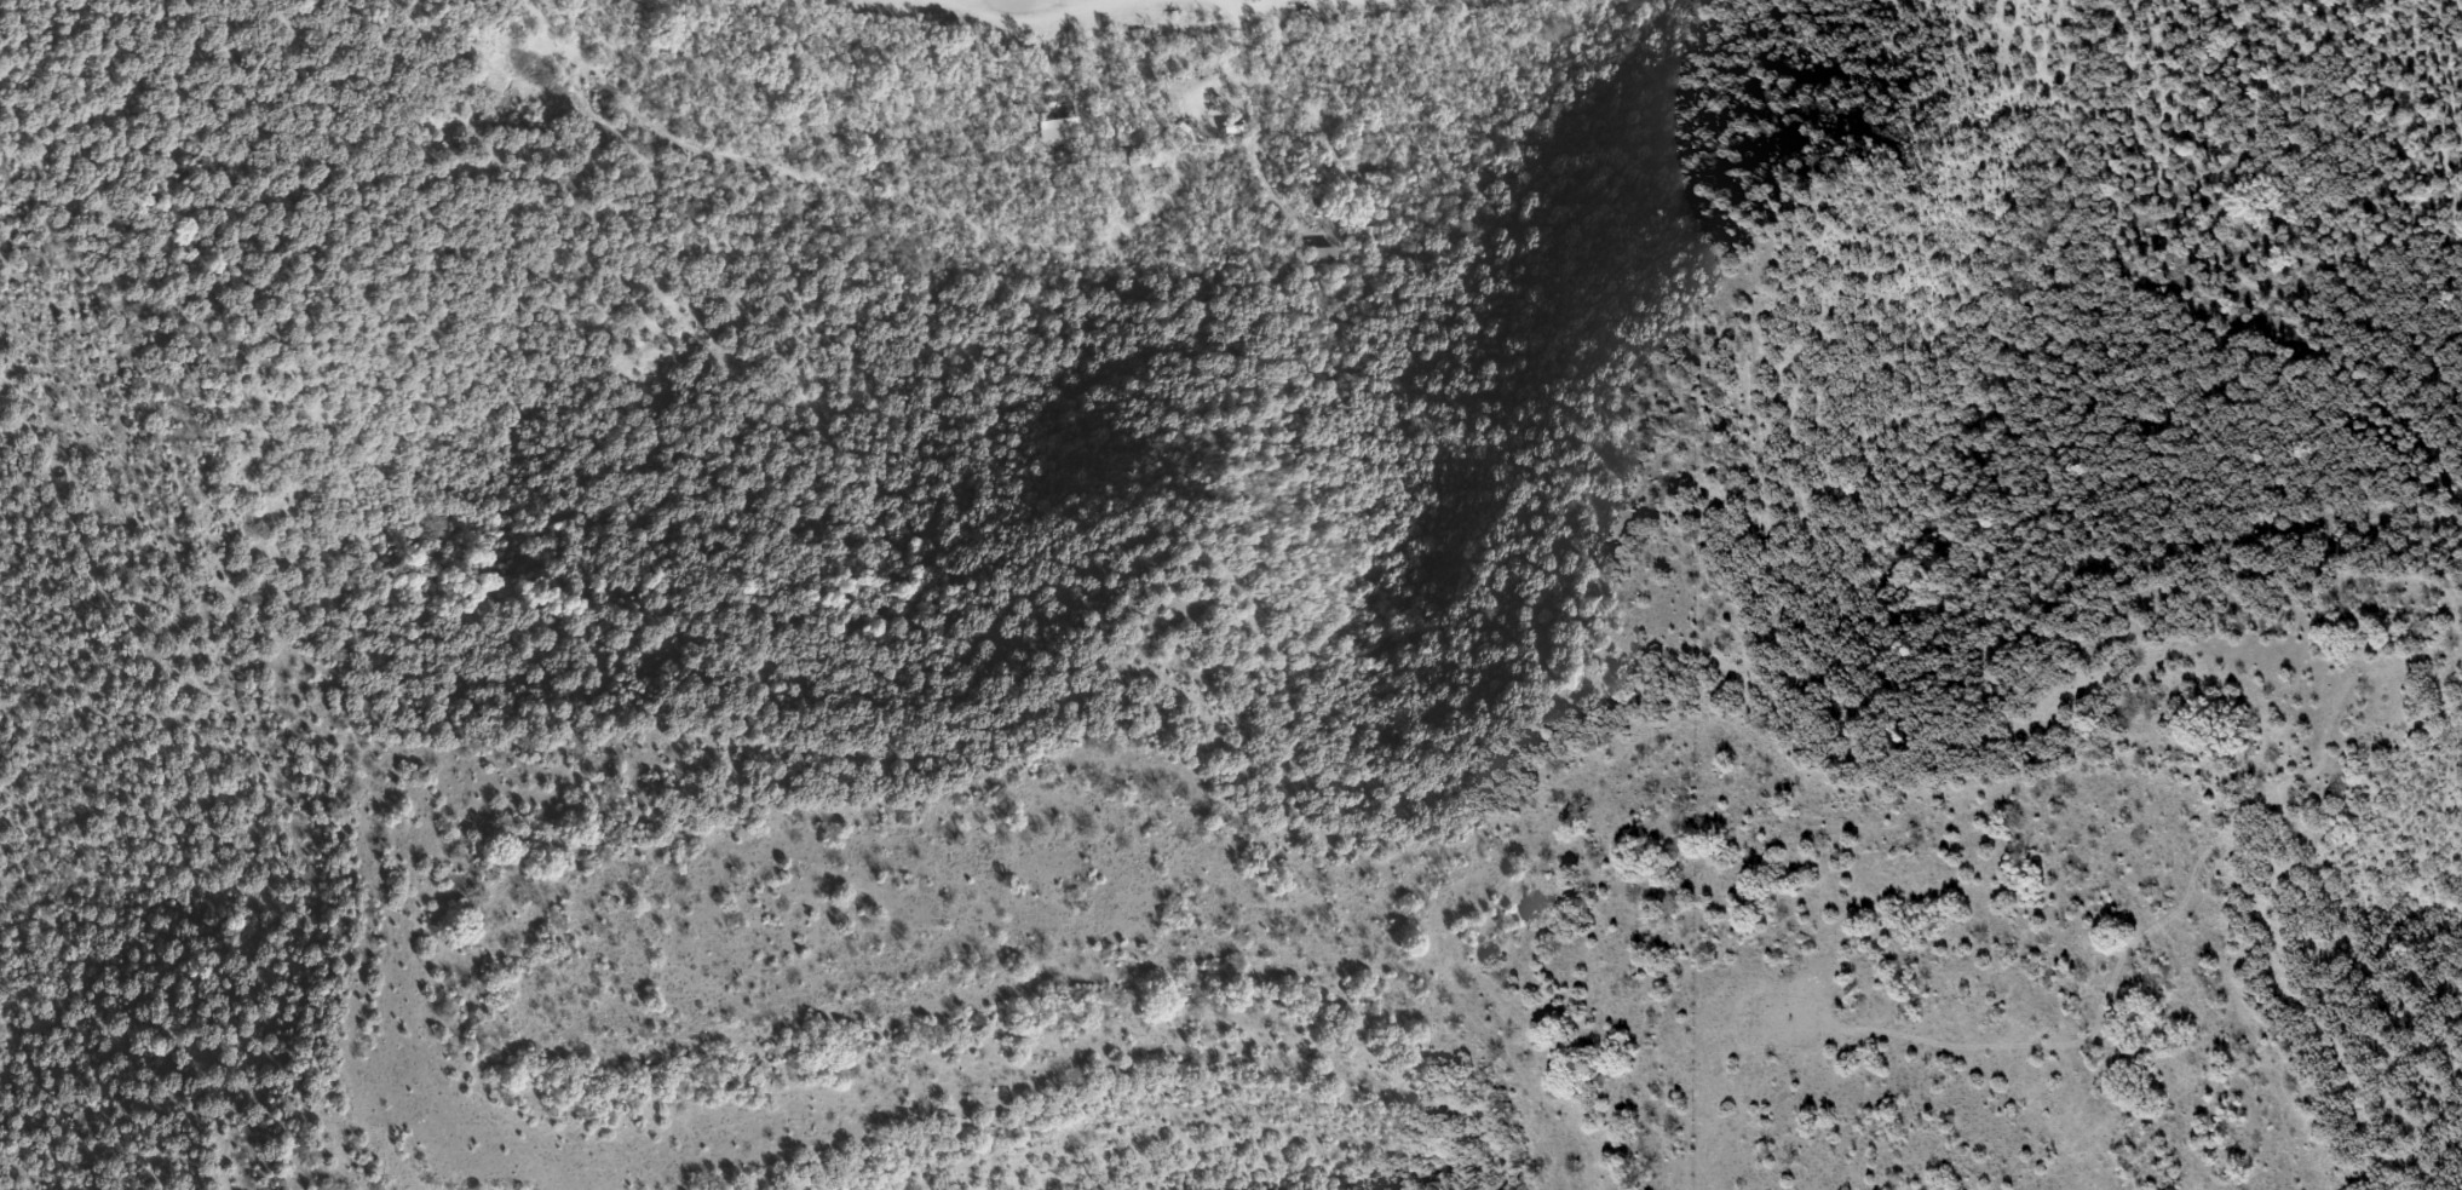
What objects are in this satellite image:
road: (1252, 108)
building: (1052, 127)
building: (1357, 234)
building: (1319, 257)

